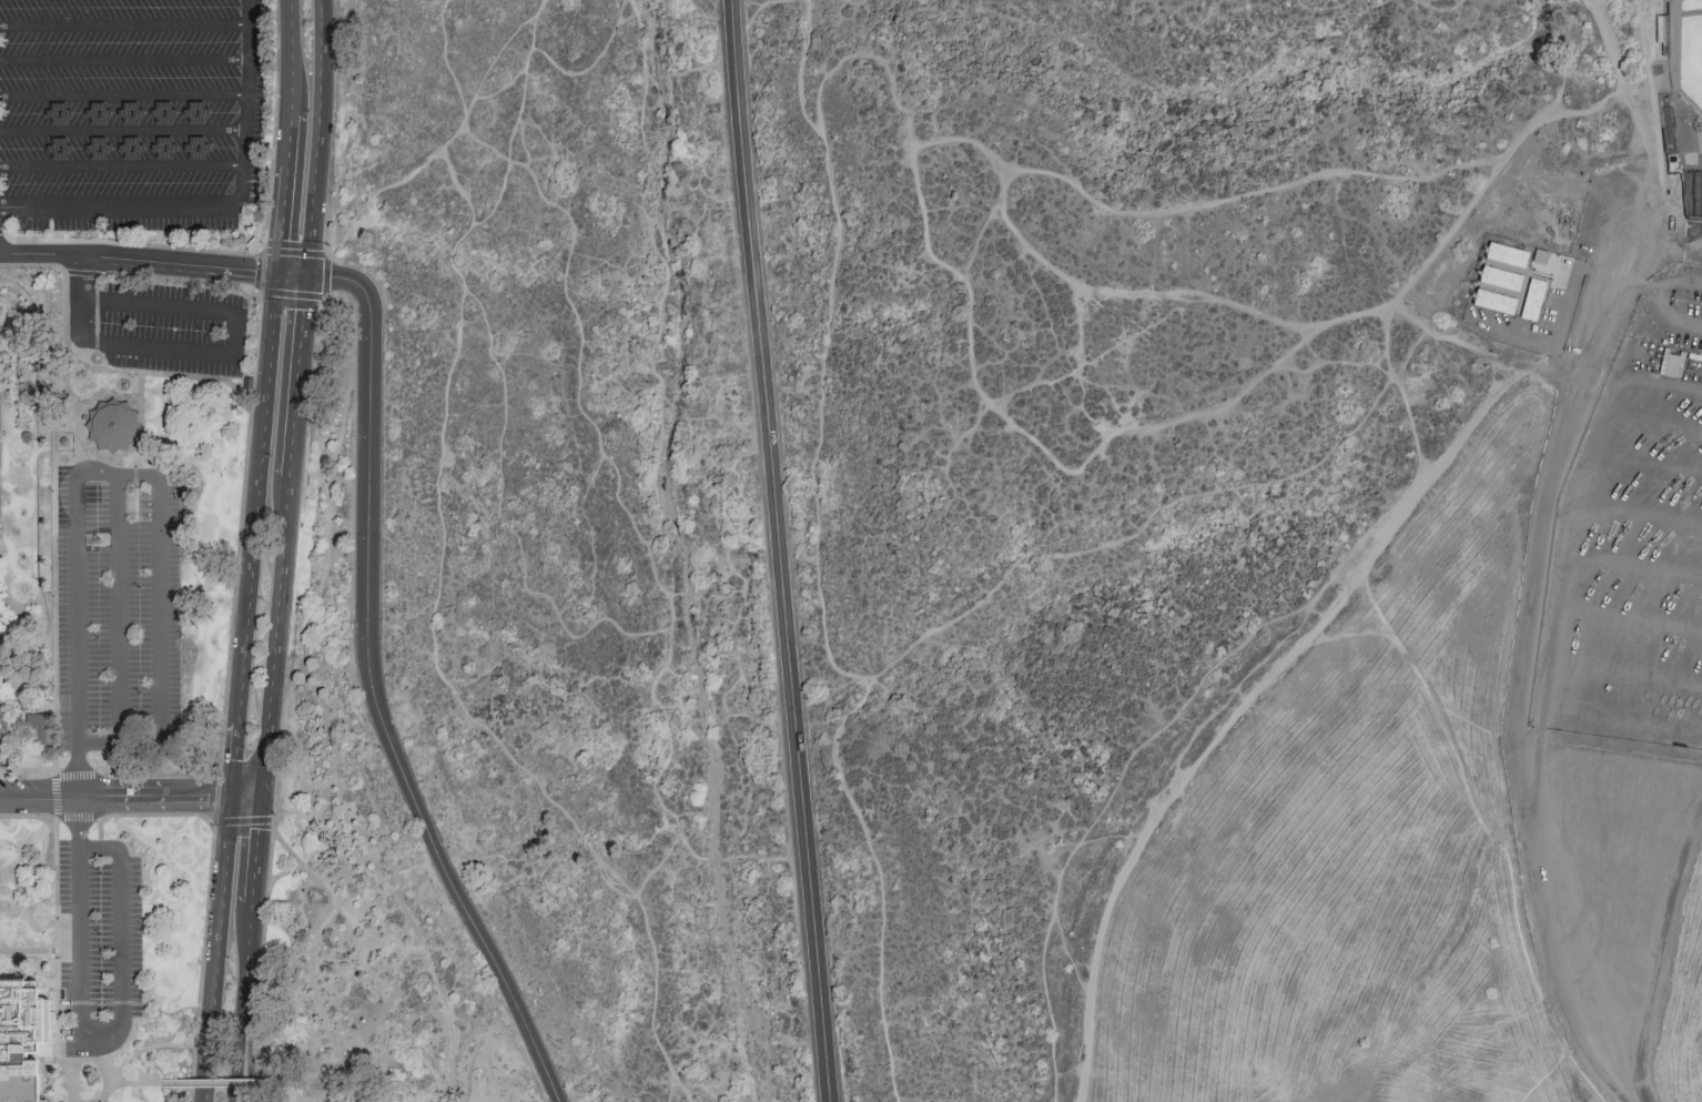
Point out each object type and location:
road: (539, 7)
road: (1440, 7)
road: (758, 8)
road: (1323, 9)
road: (124, 29)
park: (1685, 50)
road: (531, 51)
road: (1567, 55)
road: (292, 57)
road: (124, 64)
road: (798, 68)
road: (318, 72)
road: (822, 81)
road: (125, 97)
road: (249, 105)
building: (125, 111)
building: (160, 111)
building: (191, 111)
building: (54, 112)
parking lot: (132, 113)
road: (1652, 121)
road: (274, 125)
road: (123, 131)
road: (449, 140)
road: (288, 141)
road: (966, 141)
building: (192, 145)
building: (93, 146)
building: (126, 146)
building: (160, 146)
road: (121, 169)
road: (1067, 179)
road: (467, 183)
park: (1701, 203)
road: (115, 210)
road: (311, 211)
parking lot: (1604, 212)
road: (283, 221)
road: (2, 232)
road: (976, 234)
road: (130, 243)
road: (1673, 243)
road: (260, 251)
building: (1503, 253)
building: (1537, 255)
road: (139, 263)
road: (84, 271)
road: (292, 275)
building: (1497, 276)
road: (65, 279)
road: (567, 297)
building: (1529, 299)
building: (1490, 301)
road: (303, 310)
road: (317, 319)
parking lot: (172, 328)
road: (74, 347)
road: (1409, 351)
road: (211, 356)
road: (1335, 362)
building: (1669, 363)
road: (1546, 368)
road: (156, 373)
road: (104, 398)
road: (70, 405)
road: (294, 408)
road: (249, 419)
road: (140, 425)
building: (113, 428)
road: (1415, 428)
road: (108, 456)
road: (1326, 457)
road: (72, 471)
road: (105, 474)
road: (136, 479)
road: (105, 481)
road: (659, 491)
road: (119, 497)
road: (257, 498)
road: (500, 517)
road: (101, 518)
parking lot: (1632, 537)
railway: (37, 539)
road: (1540, 547)
road: (777, 550)
park: (851, 550)
road: (159, 597)
parking lot: (119, 609)
road: (314, 611)
road: (276, 615)
road: (119, 628)
road: (428, 628)
road: (78, 631)
road: (1353, 633)
road: (54, 640)
building: (1, 669)
road: (368, 685)
road: (1212, 697)
road: (1223, 700)
building: (3, 714)
road: (1232, 719)
building: (37, 728)
road: (99, 739)
road: (1146, 746)
road: (10, 754)
road: (235, 760)
road: (78, 772)
road: (262, 774)
road: (55, 775)
road: (155, 777)
road: (276, 789)
road: (154, 796)
traffic signals: (233, 796)
road: (246, 796)
traffic signals: (261, 796)
road: (39, 799)
road: (154, 815)
road: (28, 817)
road: (89, 819)
road: (217, 822)
road: (78, 825)
road: (274, 827)
road: (1108, 836)
road: (1490, 838)
street lamp: (237, 843)
road: (99, 847)
road: (256, 849)
road: (31, 866)
road: (654, 869)
road: (283, 873)
park: (29, 879)
road: (54, 884)
road: (402, 918)
road: (205, 922)
road: (217, 948)
parking lot: (98, 949)
road: (1066, 950)
road: (1658, 950)
street lamp: (231, 961)
road: (260, 963)
road: (247, 964)
road: (55, 978)
road: (321, 1001)
building: (23, 1040)
road: (115, 1040)
road: (161, 1045)
road: (483, 1049)
road: (98, 1053)
road: (69, 1061)
park: (83, 1061)
road: (83, 1061)
road: (239, 1063)
road: (75, 1071)
road: (195, 1073)
road: (1544, 1074)
road: (105, 1080)
road: (133, 1082)
road: (222, 1082)
road: (332, 1084)
road: (677, 1088)
road: (671, 1090)
road: (111, 1093)
road: (295, 1093)
road: (256, 1095)
road: (292, 1096)
road: (247, 1098)

